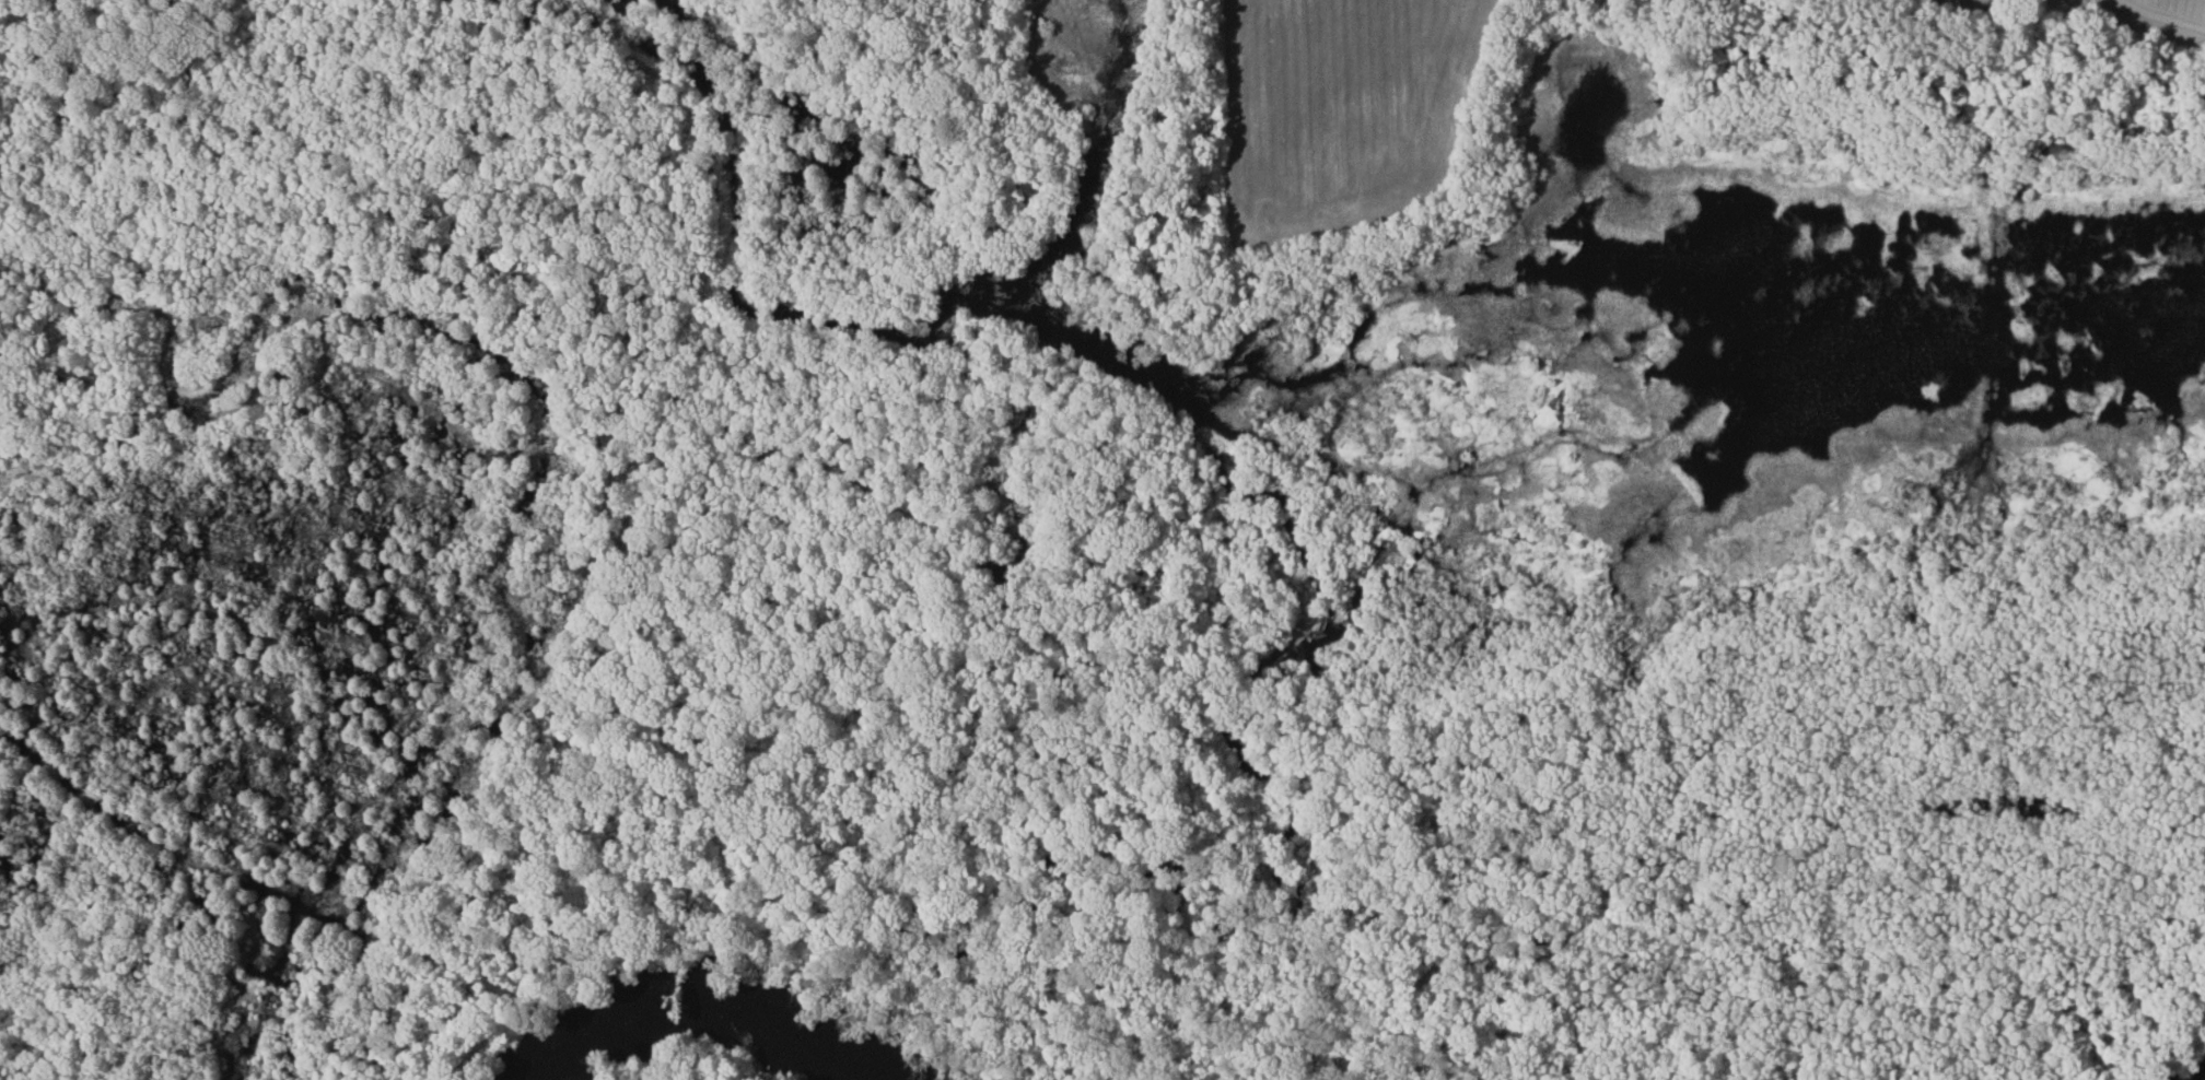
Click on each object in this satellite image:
river: (726, 1012)

